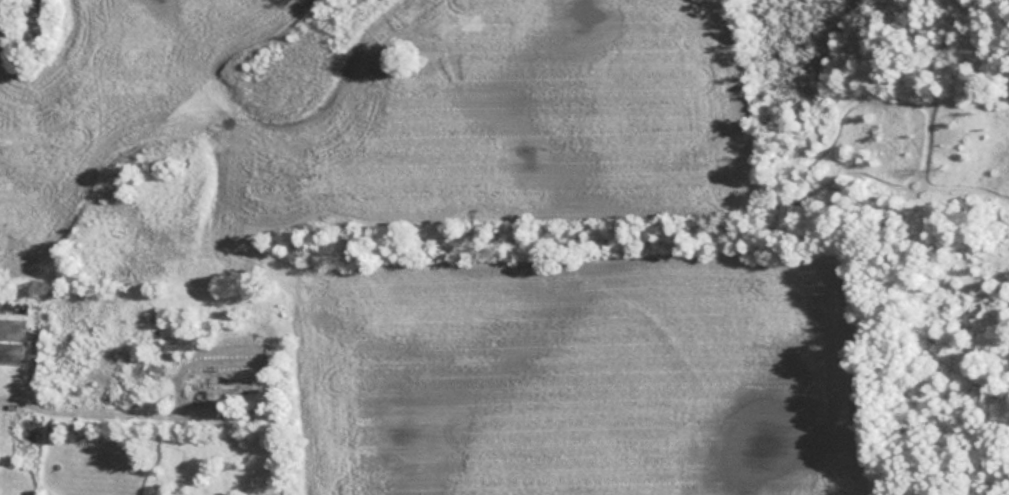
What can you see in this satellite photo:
building: (13, 308)
building: (12, 329)
building: (12, 353)
building: (221, 362)
building: (221, 380)
road: (15, 396)

